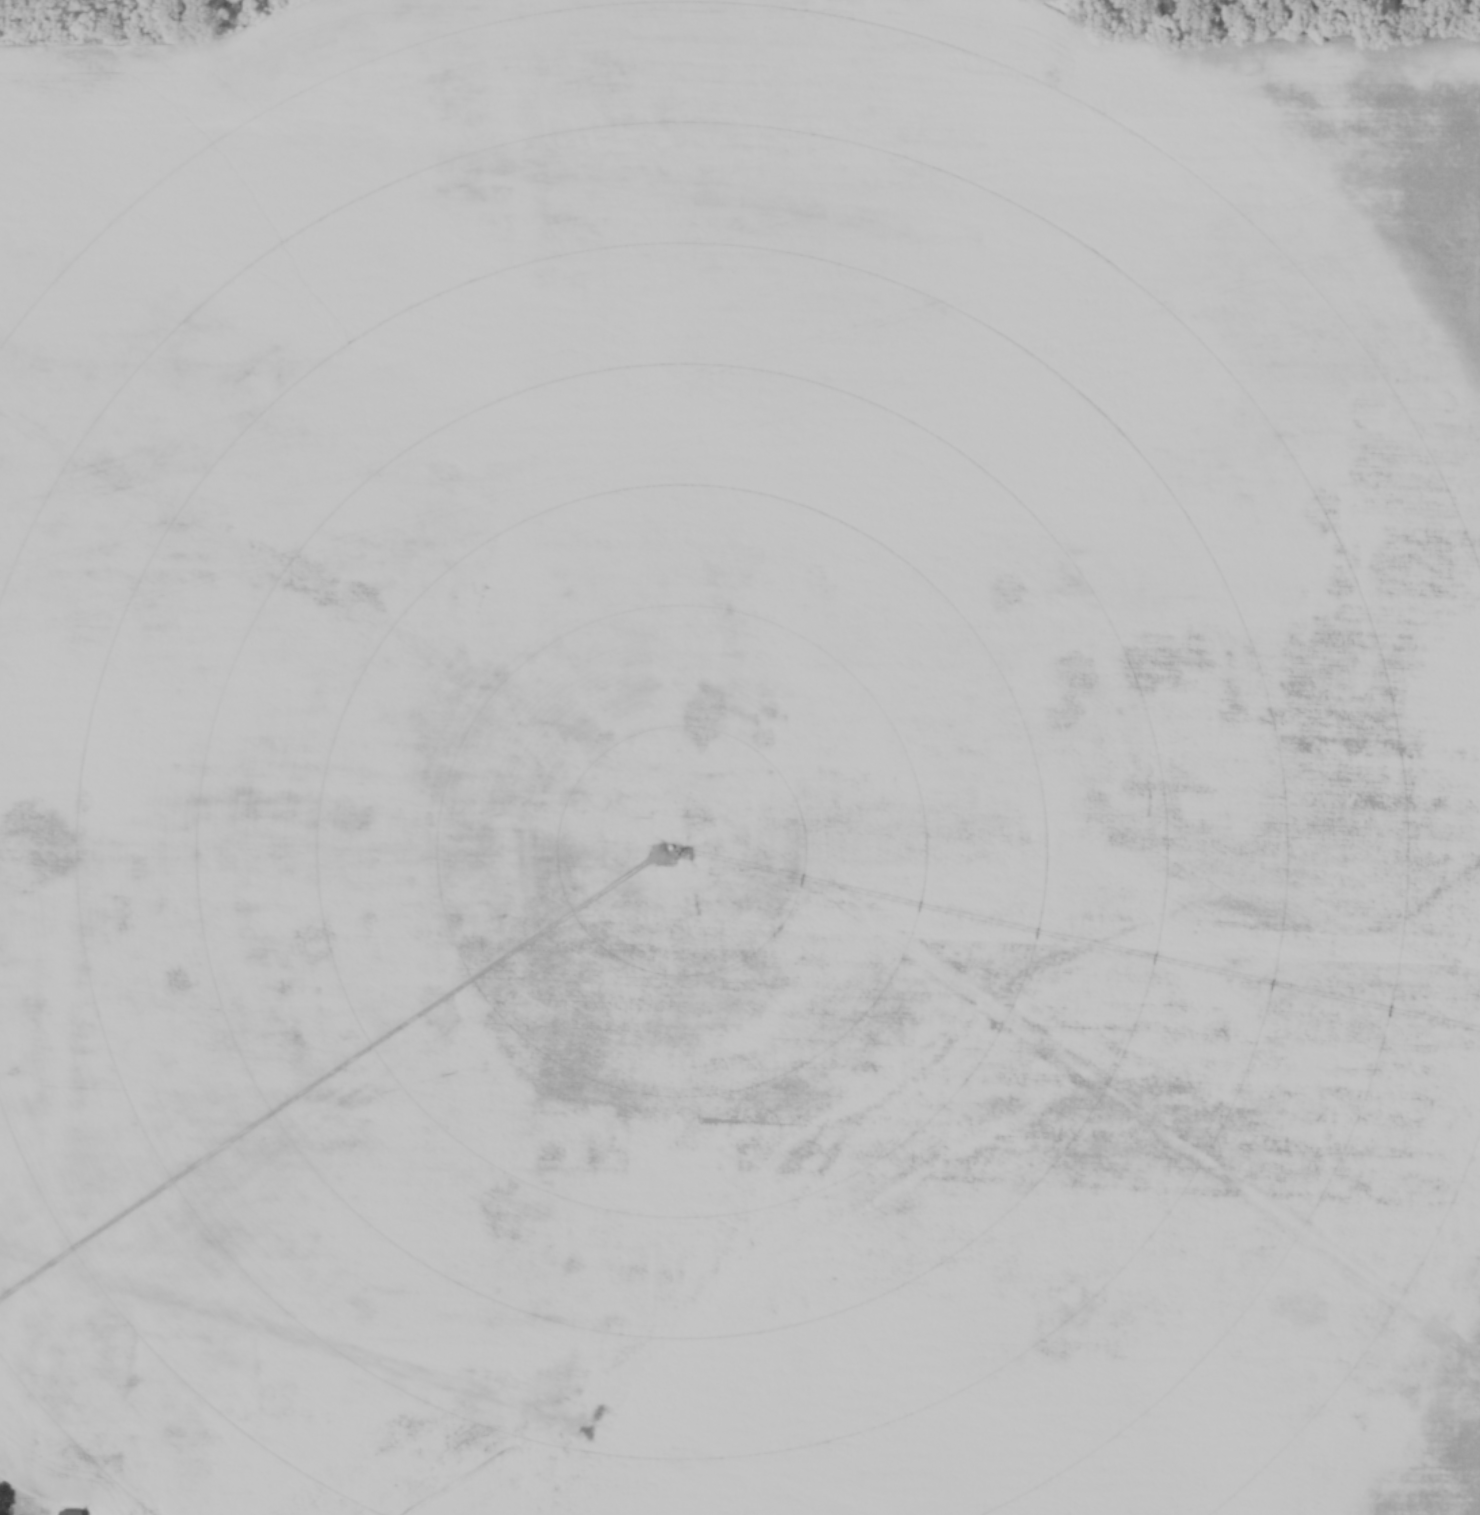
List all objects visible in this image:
building: (70, 1513)

